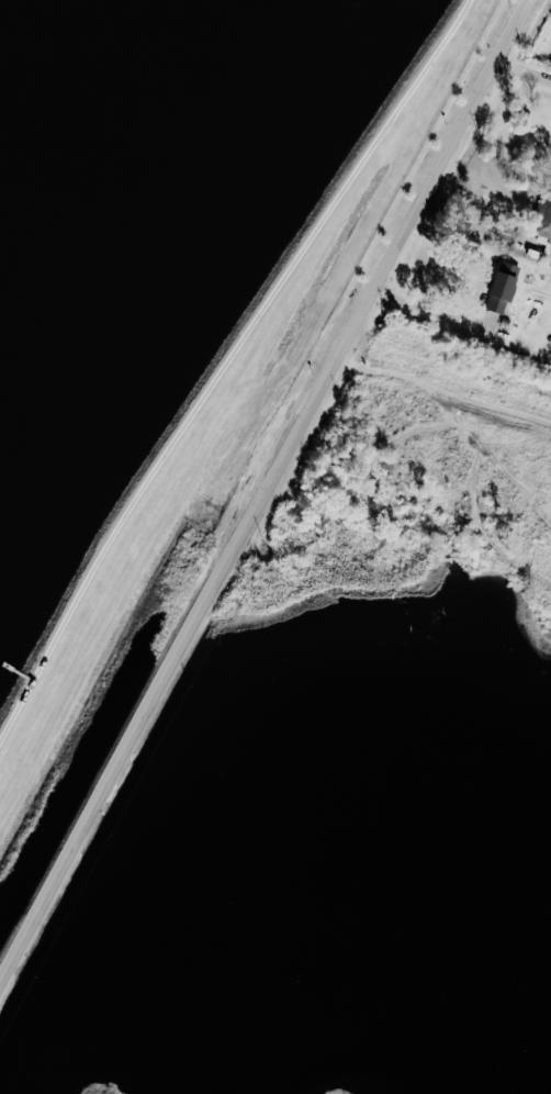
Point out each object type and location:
building: (543, 216)
building: (502, 284)
road: (225, 362)
road: (268, 496)

